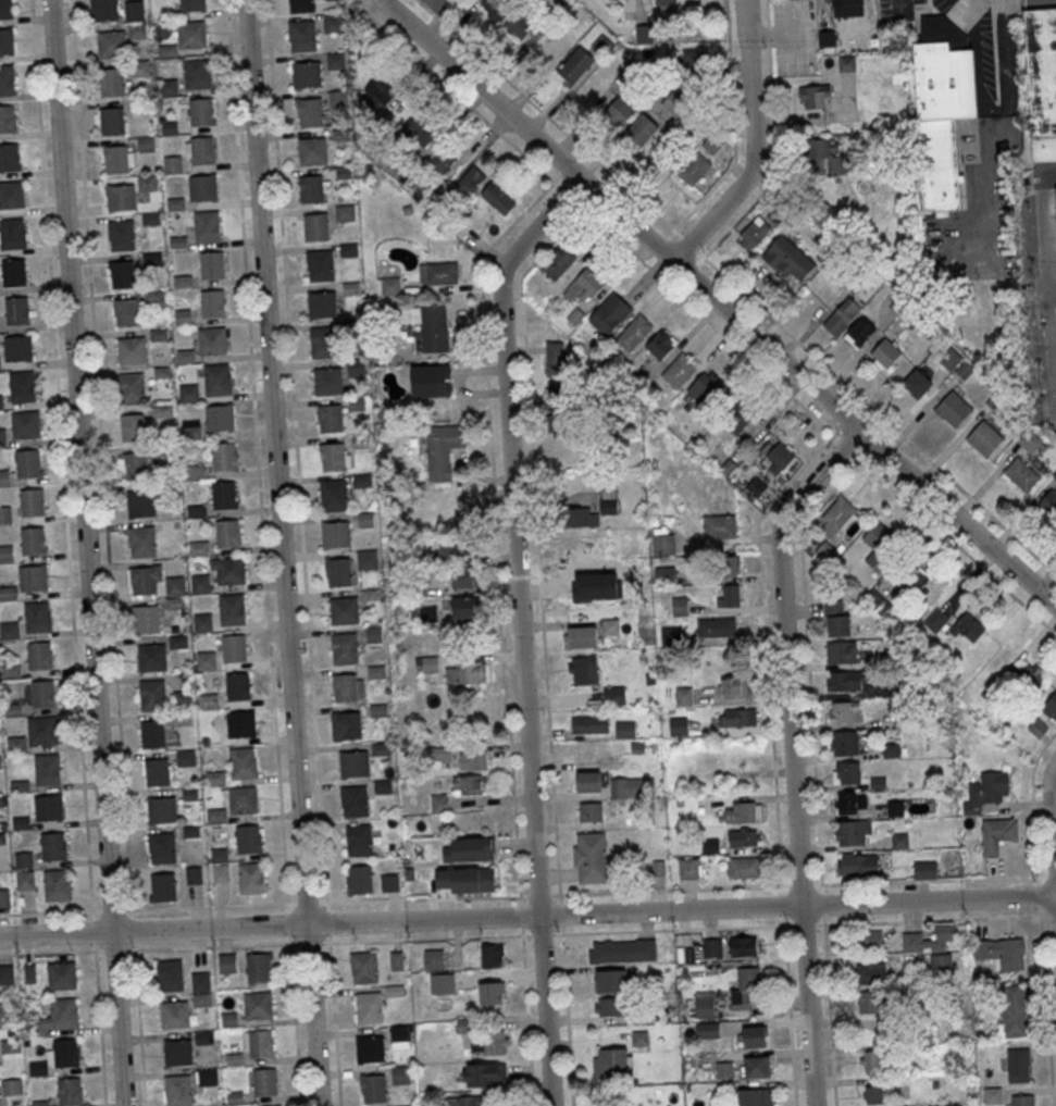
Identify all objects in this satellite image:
building: (773, 0)
building: (844, 2)
building: (190, 4)
building: (666, 4)
road: (900, 4)
road: (1009, 4)
building: (301, 5)
building: (5, 9)
building: (103, 10)
building: (135, 11)
building: (333, 22)
building: (519, 24)
building: (192, 34)
building: (302, 35)
building: (827, 37)
building: (7, 41)
building: (111, 44)
building: (601, 45)
building: (696, 59)
building: (335, 61)
building: (846, 63)
building: (575, 64)
building: (140, 67)
building: (197, 73)
building: (307, 74)
building: (7, 78)
building: (1042, 79)
building: (111, 80)
building: (381, 91)
road: (457, 95)
building: (815, 96)
building: (674, 103)
building: (943, 104)
building: (201, 111)
building: (619, 111)
building: (311, 113)
road: (549, 117)
building: (7, 119)
building: (112, 120)
road: (996, 126)
building: (418, 129)
building: (642, 129)
road: (733, 132)
road: (751, 146)
road: (774, 147)
building: (202, 149)
building: (312, 150)
building: (823, 151)
building: (446, 156)
building: (10, 157)
building: (115, 159)
building: (470, 181)
building: (148, 183)
building: (202, 187)
building: (311, 188)
building: (12, 194)
road: (567, 194)
building: (121, 197)
building: (498, 198)
road: (984, 208)
building: (345, 212)
building: (207, 223)
building: (315, 226)
building: (13, 232)
building: (754, 233)
building: (121, 235)
road: (660, 244)
road: (688, 244)
building: (151, 258)
building: (788, 258)
building: (558, 260)
building: (211, 264)
building: (320, 264)
road: (691, 270)
building: (14, 272)
building: (438, 272)
building: (122, 273)
building: (390, 285)
building: (154, 297)
building: (212, 302)
building: (322, 303)
road: (718, 303)
building: (17, 310)
building: (125, 311)
building: (609, 313)
building: (842, 315)
building: (432, 326)
building: (634, 332)
building: (859, 332)
building: (211, 340)
building: (324, 343)
building: (661, 344)
building: (18, 348)
building: (132, 350)
building: (886, 352)
building: (557, 359)
building: (356, 370)
building: (679, 370)
building: (218, 378)
building: (327, 381)
building: (431, 381)
building: (918, 383)
building: (22, 386)
building: (132, 387)
building: (703, 390)
building: (188, 393)
building: (563, 395)
building: (1, 402)
building: (953, 408)
road: (875, 411)
building: (221, 417)
building: (330, 418)
building: (740, 418)
road: (815, 418)
building: (562, 423)
building: (26, 424)
building: (135, 427)
building: (191, 430)
building: (2, 436)
building: (984, 437)
building: (1029, 440)
building: (443, 451)
road: (61, 456)
building: (223, 456)
building: (334, 456)
building: (780, 457)
road: (101, 459)
building: (27, 463)
building: (136, 464)
building: (1022, 473)
building: (1054, 474)
building: (756, 486)
building: (223, 495)
building: (333, 495)
building: (32, 501)
building: (140, 504)
building: (444, 509)
building: (592, 510)
building: (5, 514)
building: (836, 515)
road: (497, 525)
building: (719, 525)
building: (228, 533)
road: (263, 534)
building: (336, 534)
building: (663, 538)
building: (33, 539)
building: (141, 540)
building: (878, 545)
building: (459, 546)
road: (86, 552)
road: (282, 552)
building: (825, 552)
building: (7, 554)
building: (725, 566)
building: (340, 571)
building: (612, 572)
building: (663, 573)
building: (34, 577)
building: (463, 577)
building: (146, 580)
building: (915, 582)
building: (200, 583)
building: (175, 585)
building: (8, 593)
building: (728, 595)
building: (873, 599)
building: (175, 602)
building: (679, 606)
building: (464, 607)
building: (232, 609)
building: (344, 610)
building: (37, 616)
building: (836, 618)
building: (146, 619)
building: (935, 620)
building: (203, 623)
building: (716, 626)
road: (520, 627)
building: (968, 627)
building: (9, 630)
building: (374, 634)
building: (582, 636)
building: (178, 642)
road: (544, 645)
building: (234, 648)
building: (345, 648)
building: (841, 651)
building: (39, 655)
building: (151, 657)
building: (207, 660)
building: (426, 662)
road: (310, 663)
building: (11, 670)
building: (583, 670)
building: (464, 672)
building: (1028, 678)
building: (844, 681)
building: (238, 685)
building: (348, 686)
building: (734, 687)
building: (42, 693)
building: (152, 695)
building: (613, 695)
building: (683, 695)
building: (183, 699)
building: (1051, 706)
building: (844, 711)
building: (736, 717)
building: (182, 719)
building: (241, 723)
building: (589, 723)
building: (349, 724)
building: (678, 725)
building: (624, 729)
building: (42, 730)
building: (152, 733)
building: (844, 742)
building: (16, 744)
building: (438, 754)
road: (792, 754)
road: (772, 756)
building: (185, 757)
building: (473, 760)
building: (244, 762)
building: (353, 763)
building: (48, 769)
building: (157, 771)
road: (815, 772)
building: (846, 772)
building: (587, 781)
building: (467, 785)
building: (626, 787)
building: (985, 791)
building: (241, 799)
building: (355, 800)
building: (849, 801)
building: (439, 803)
building: (49, 807)
building: (896, 808)
building: (162, 809)
building: (589, 811)
building: (743, 811)
road: (1052, 821)
building: (853, 832)
building: (997, 834)
building: (744, 837)
building: (249, 838)
building: (358, 840)
building: (899, 841)
building: (54, 845)
building: (162, 847)
building: (470, 849)
building: (591, 858)
building: (857, 865)
building: (745, 867)
building: (687, 869)
building: (924, 869)
building: (221, 872)
building: (251, 878)
building: (25, 879)
building: (359, 879)
building: (464, 880)
building: (390, 883)
building: (57, 884)
building: (162, 886)
road: (779, 887)
building: (4, 898)
road: (306, 903)
road: (326, 903)
road: (288, 904)
road: (111, 910)
road: (50, 912)
road: (92, 915)
road: (527, 916)
road: (1041, 916)
road: (288, 922)
road: (327, 922)
road: (781, 924)
road: (92, 930)
road: (134, 930)
building: (873, 939)
building: (930, 939)
road: (324, 942)
road: (309, 943)
building: (745, 946)
road: (149, 947)
building: (711, 947)
building: (622, 950)
building: (1002, 952)
building: (492, 955)
building: (433, 959)
building: (227, 962)
building: (941, 964)
building: (258, 967)
building: (363, 967)
building: (870, 972)
building: (5, 973)
building: (62, 974)
building: (170, 975)
building: (611, 980)
building: (442, 983)
building: (745, 987)
building: (201, 989)
building: (492, 993)
building: (870, 1002)
building: (258, 1005)
building: (705, 1005)
building: (611, 1006)
building: (368, 1007)
building: (174, 1015)
building: (1014, 1016)
building: (59, 1017)
road: (295, 1019)
road: (334, 1020)
road: (526, 1020)
road: (99, 1023)
road: (139, 1023)
building: (707, 1030)
building: (203, 1036)
building: (401, 1036)
building: (754, 1036)
building: (639, 1041)
building: (258, 1043)
building: (489, 1043)
building: (370, 1048)
building: (63, 1052)
building: (178, 1052)
building: (610, 1061)
building: (872, 1061)
building: (1018, 1066)
building: (756, 1067)
building: (400, 1073)
building: (483, 1074)
building: (208, 1077)
building: (264, 1081)
building: (373, 1088)
building: (178, 1090)
building: (70, 1091)
building: (882, 1092)
building: (993, 1095)
building: (755, 1096)
building: (469, 1101)
building: (1022, 1101)
building: (936, 1105)

